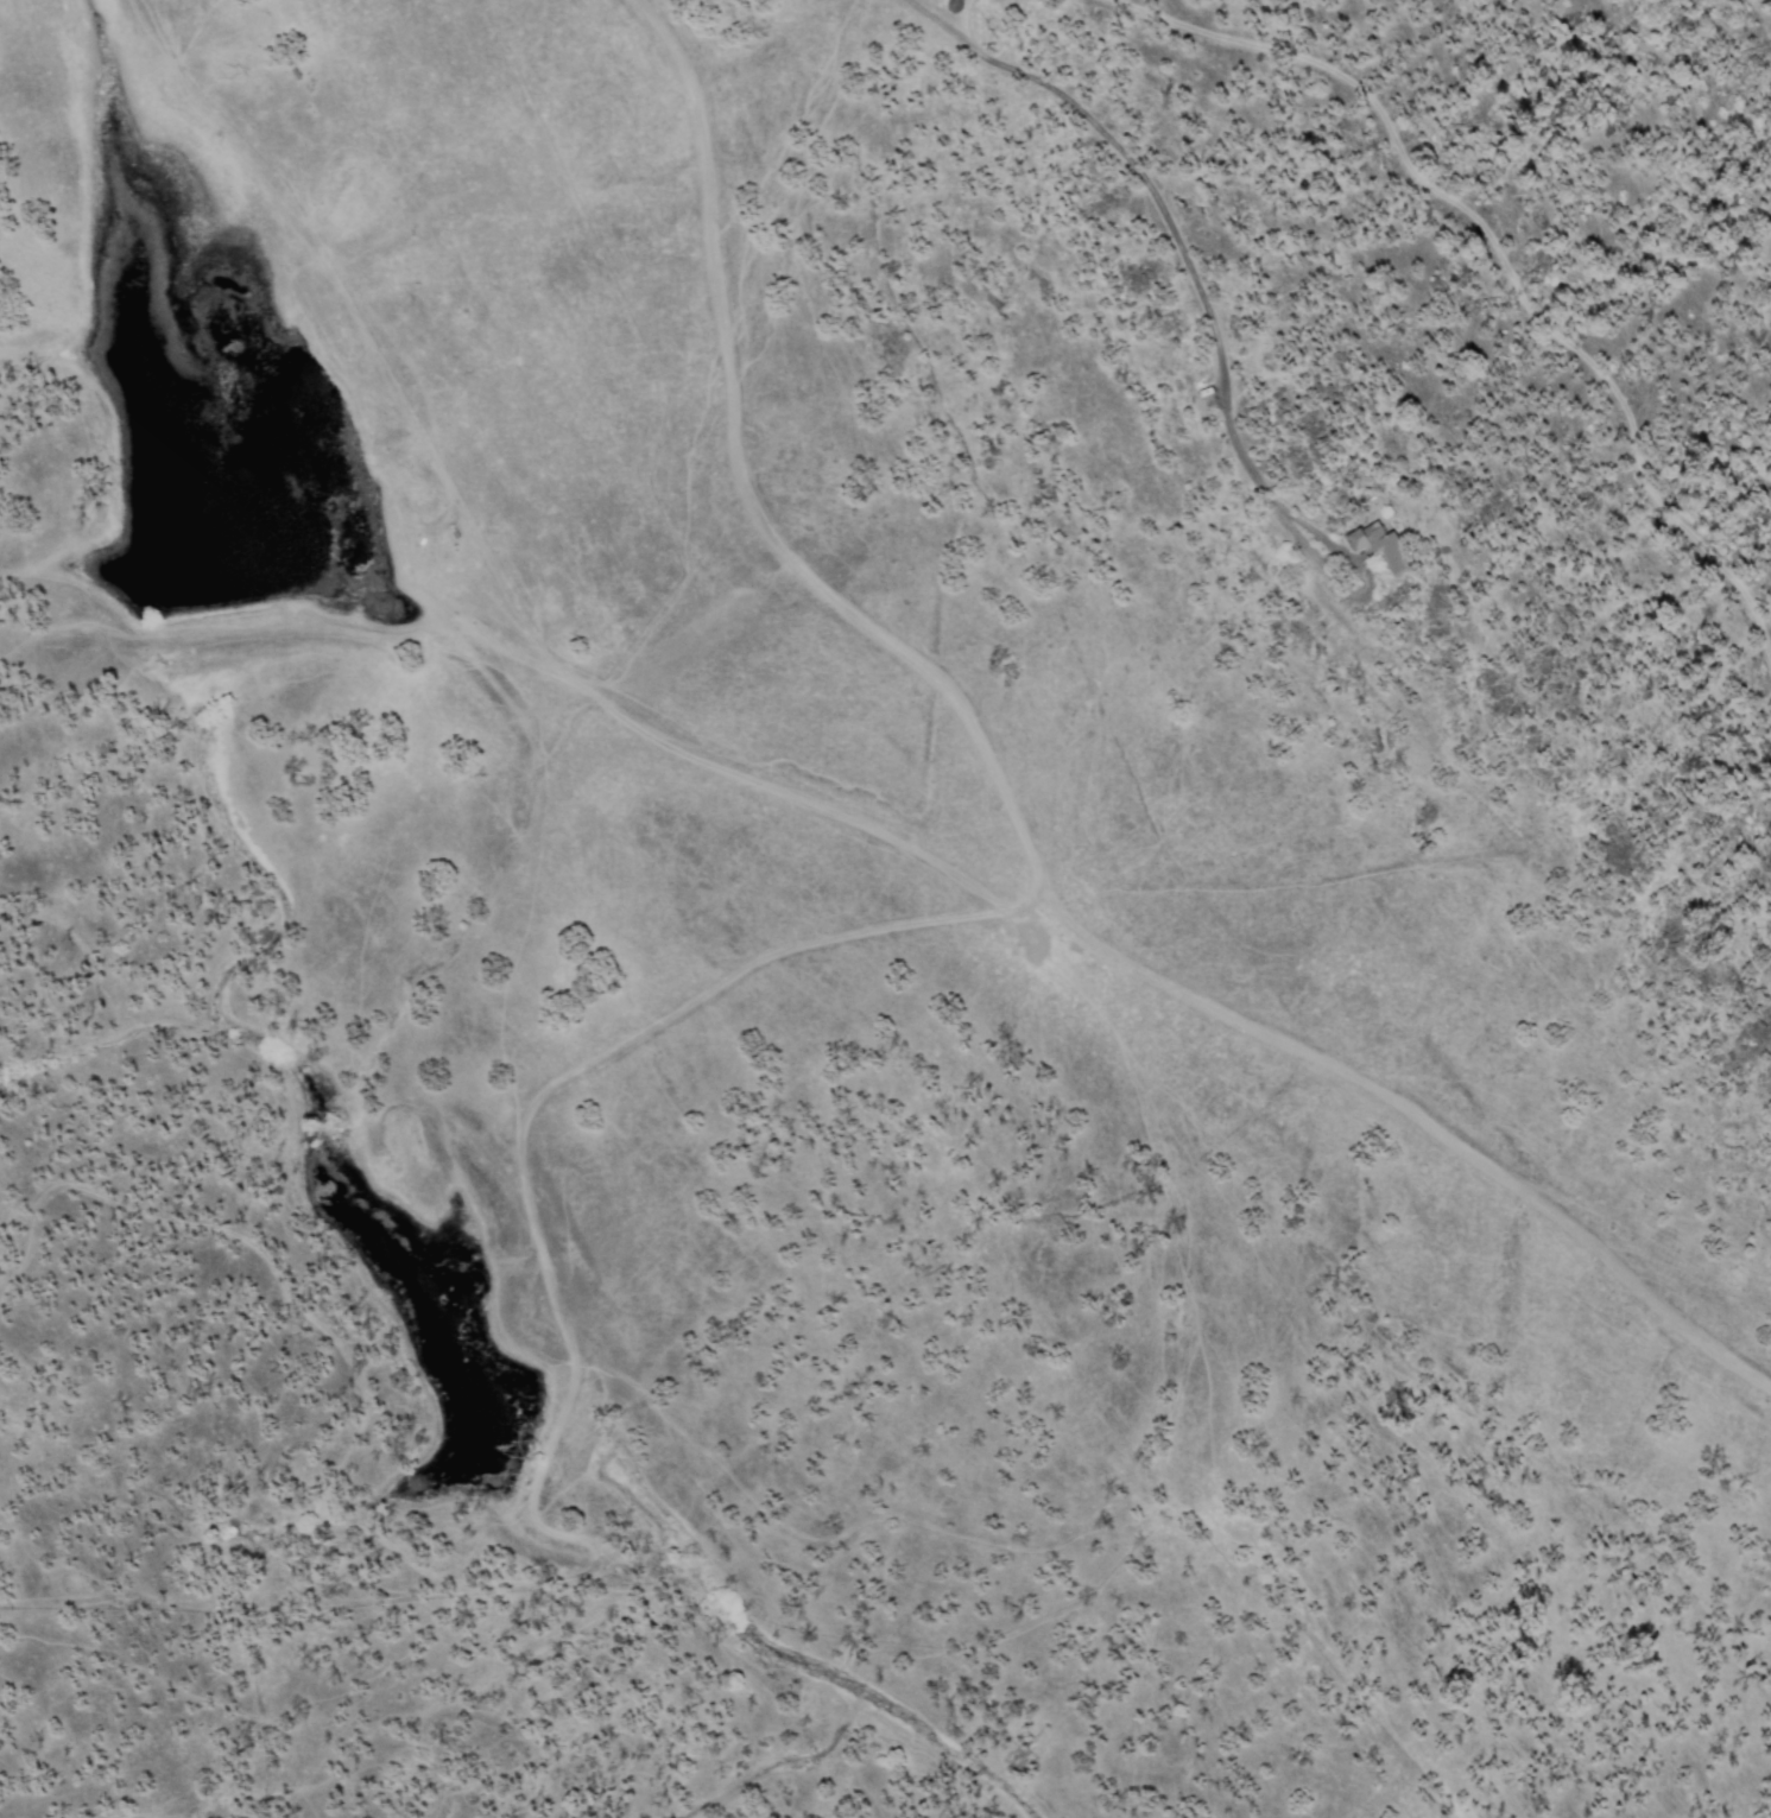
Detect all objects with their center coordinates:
road: (748, 496)
building: (1378, 545)
road: (523, 1121)

